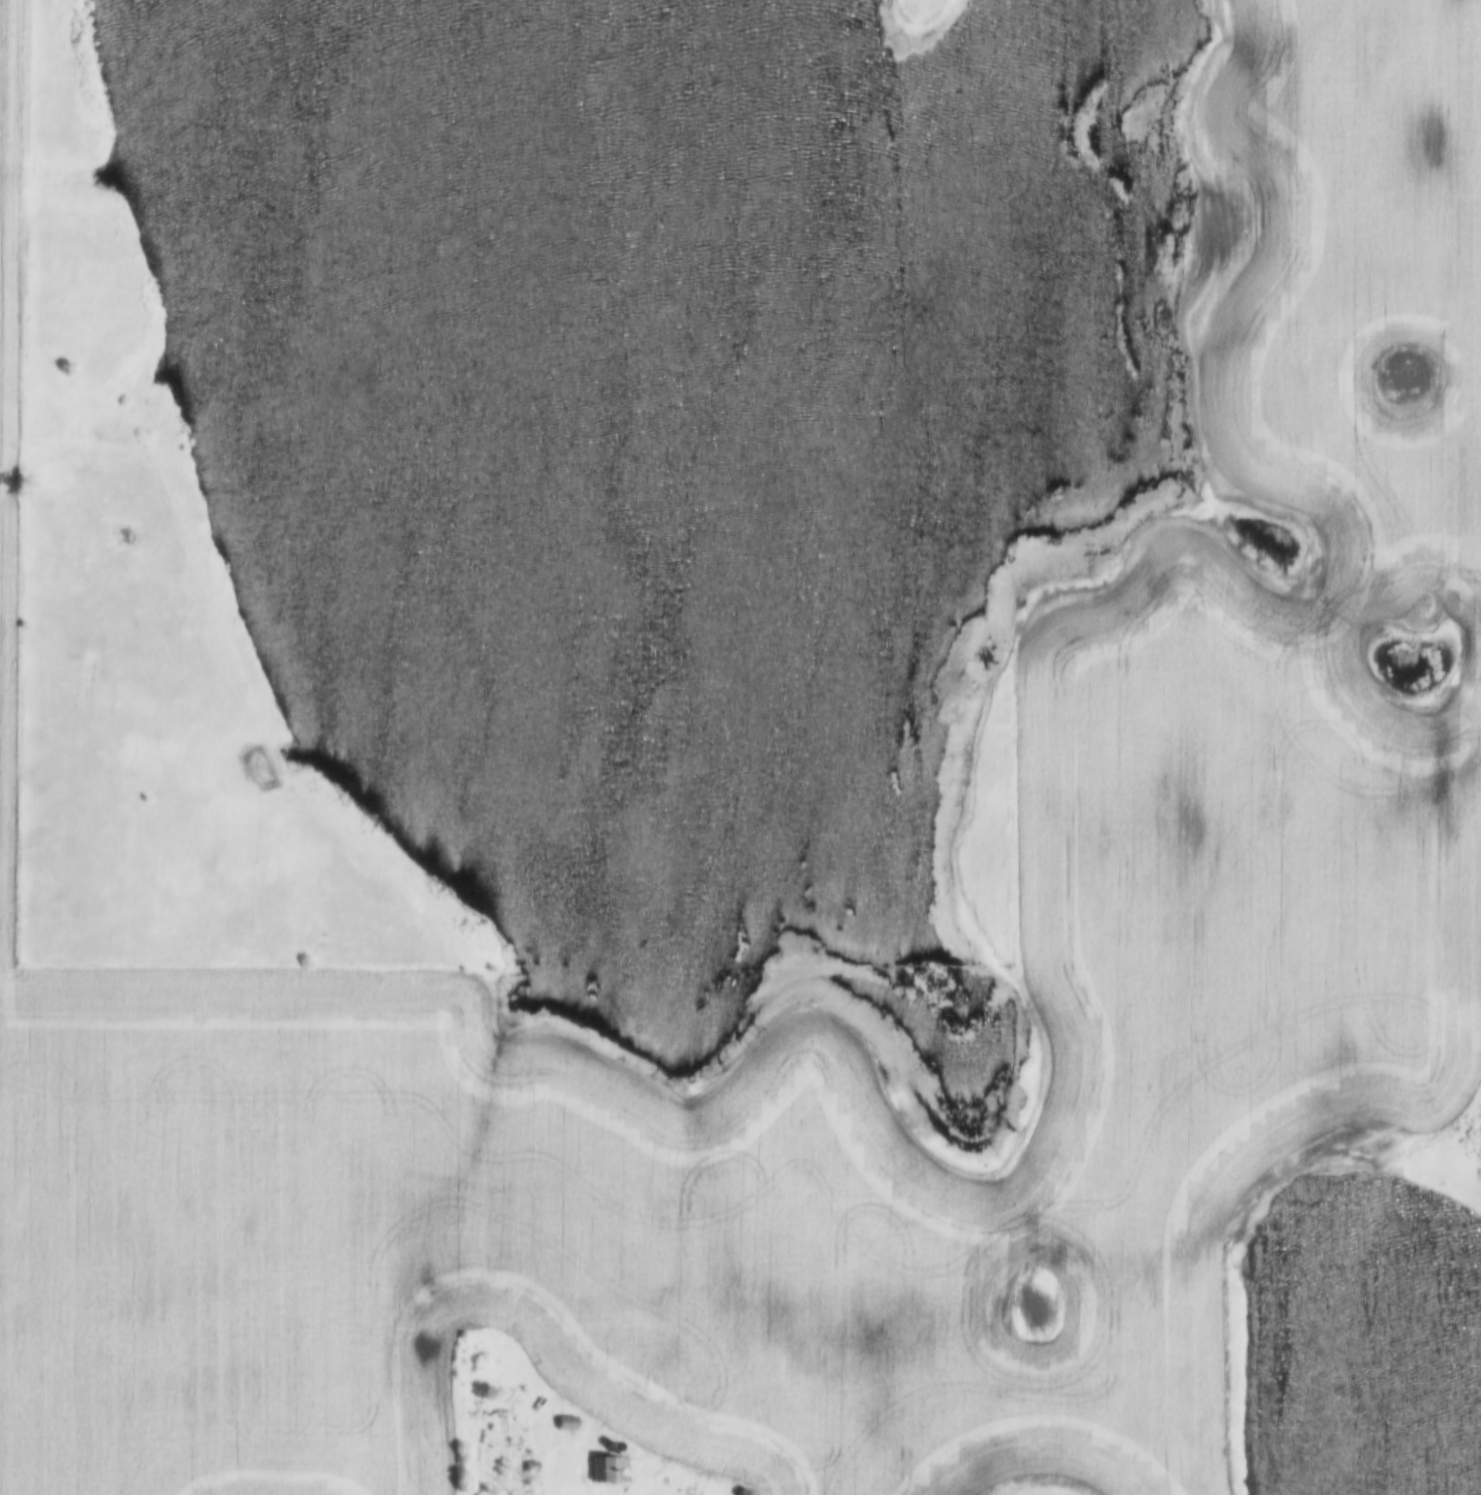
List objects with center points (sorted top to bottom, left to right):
building: (566, 1425)
building: (608, 1472)
building: (744, 1492)
road: (599, 1494)

